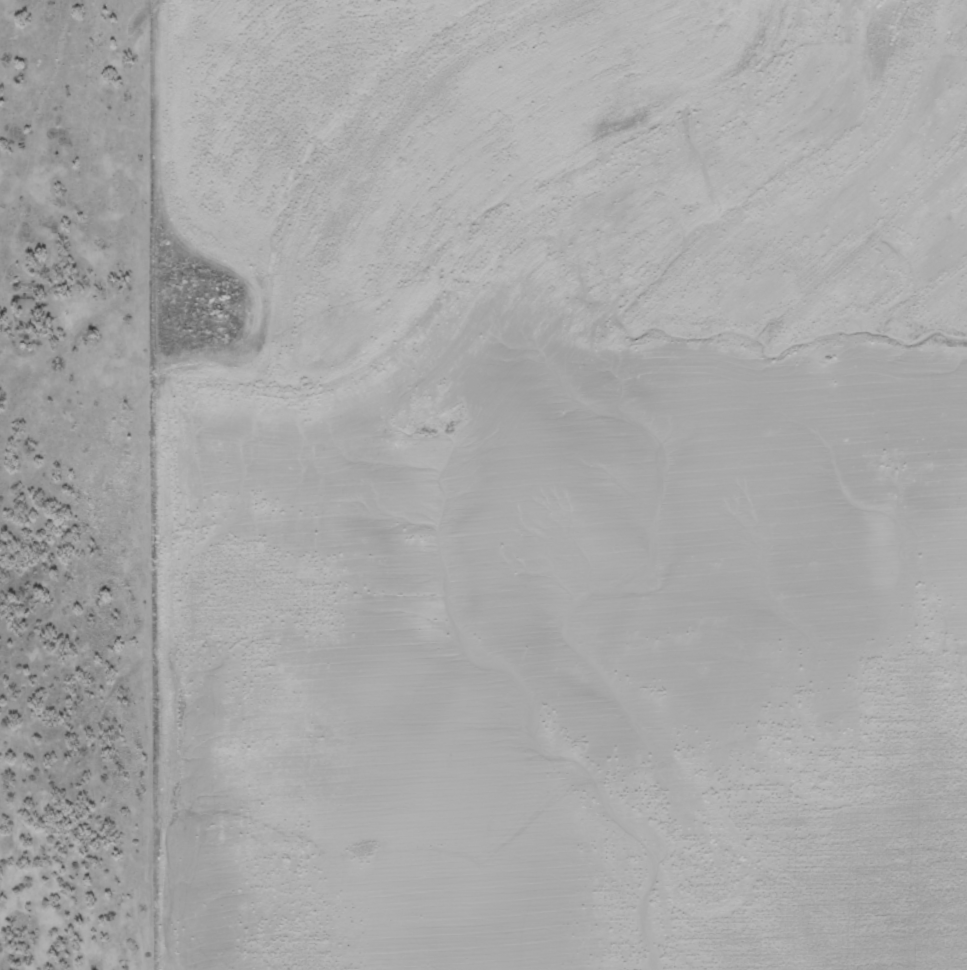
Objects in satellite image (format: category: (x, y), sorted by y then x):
road: (146, 239)

